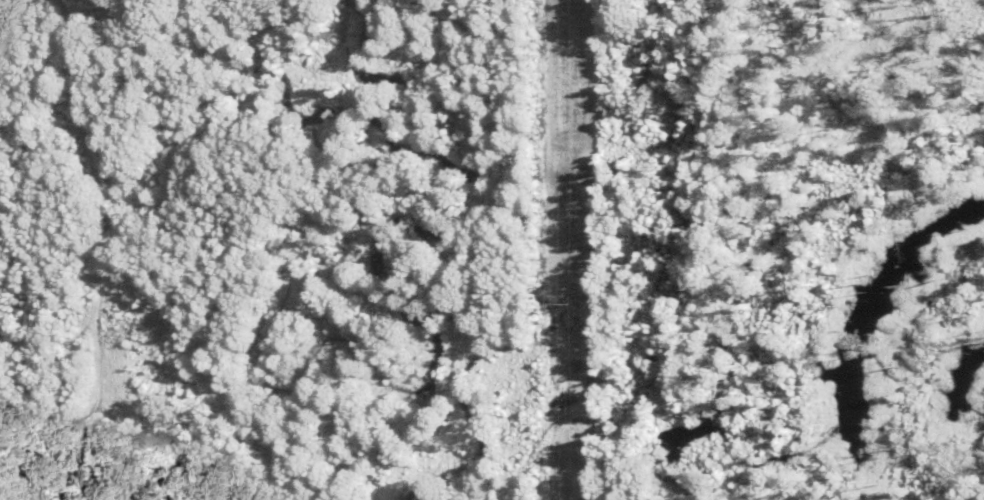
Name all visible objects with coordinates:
power tower: (570, 301)

